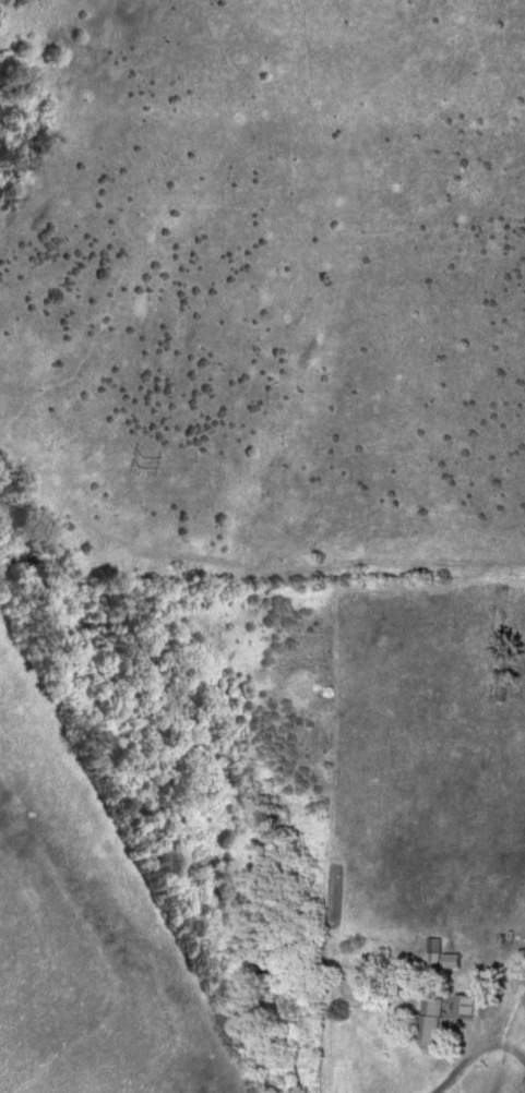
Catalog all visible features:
building: (468, 1005)
building: (435, 1021)
road: (481, 1057)

